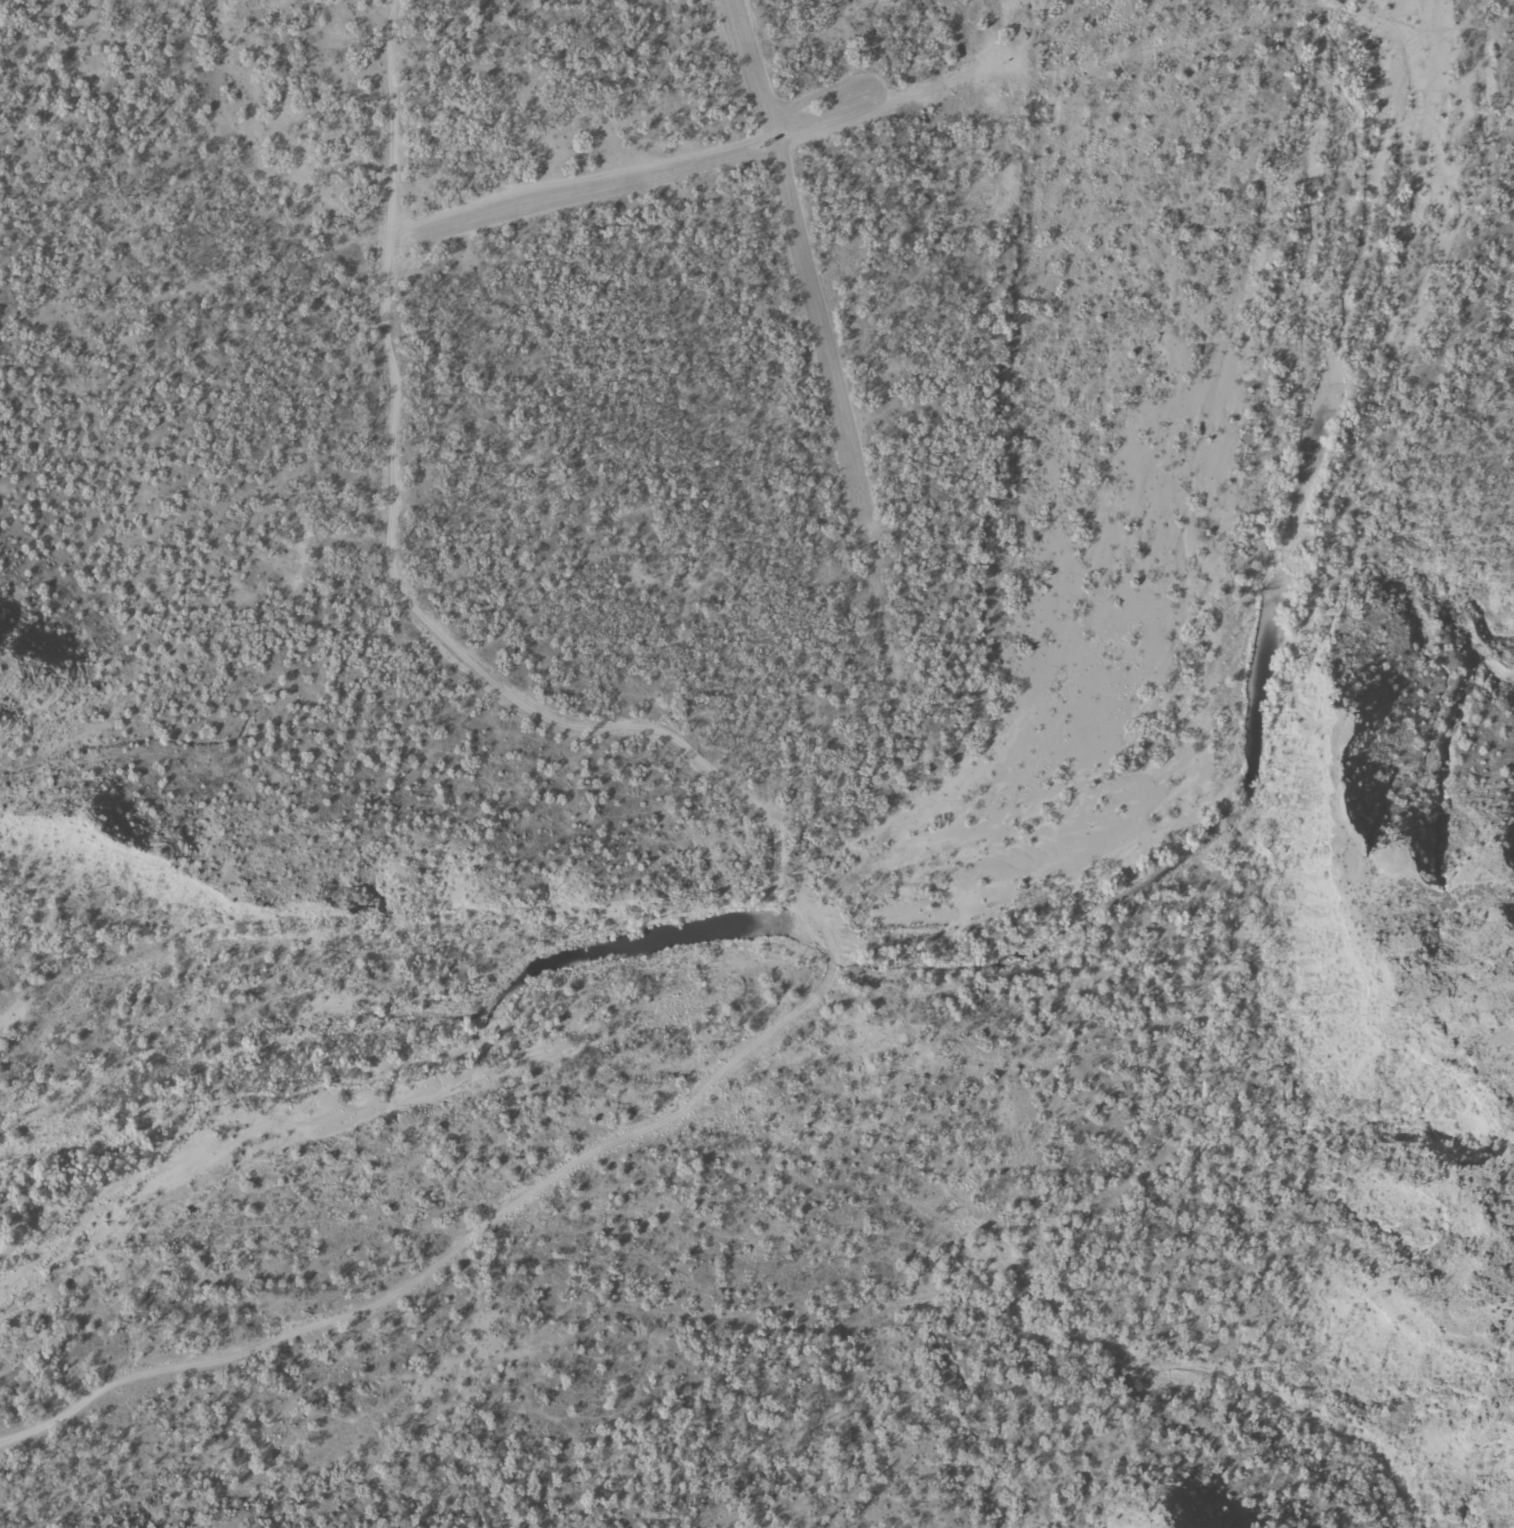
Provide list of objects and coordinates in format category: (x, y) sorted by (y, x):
road: (386, 1323)

